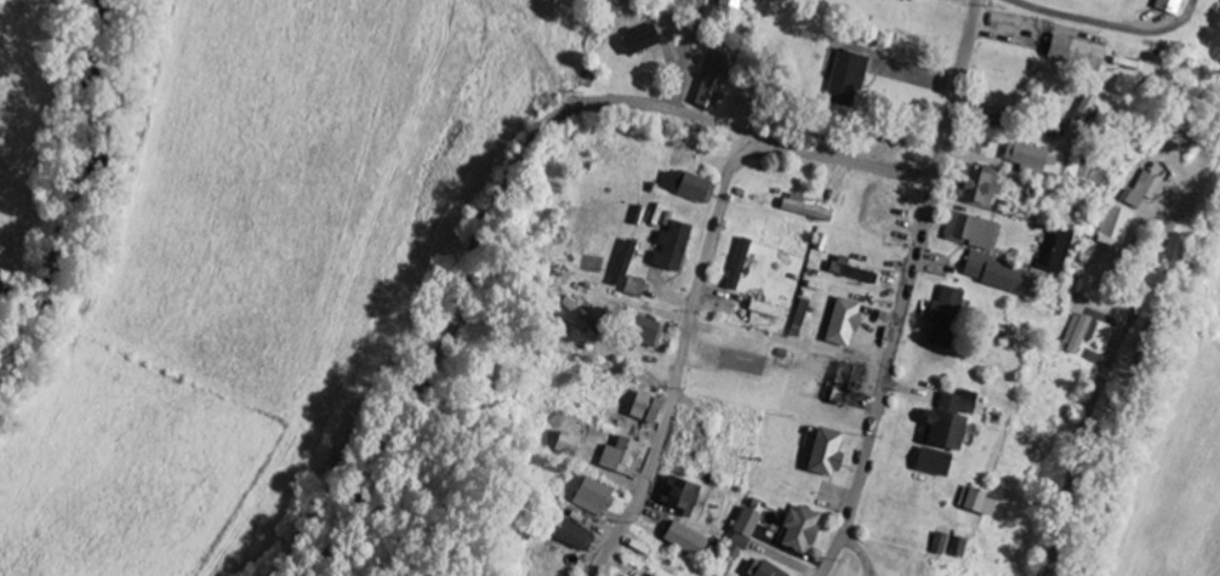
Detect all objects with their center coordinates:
building: (725, 4)
building: (1165, 6)
building: (637, 40)
building: (1072, 52)
road: (686, 55)
building: (842, 78)
building: (712, 79)
building: (1083, 112)
building: (1026, 158)
road: (513, 166)
building: (974, 187)
building: (686, 188)
river: (72, 190)
building: (1142, 192)
building: (804, 209)
building: (1114, 228)
building: (968, 233)
building: (667, 247)
building: (1053, 252)
building: (620, 264)
building: (994, 274)
building: (631, 287)
road: (907, 290)
building: (764, 310)
building: (942, 316)
building: (839, 324)
building: (639, 331)
building: (994, 331)
building: (1078, 333)
road: (683, 346)
road: (1114, 346)
building: (843, 383)
building: (642, 409)
building: (941, 433)
building: (563, 445)
building: (821, 455)
building: (616, 456)
building: (677, 496)
building: (591, 498)
building: (974, 502)
building: (797, 530)
building: (564, 534)
building: (740, 535)
building: (683, 541)
building: (764, 571)

